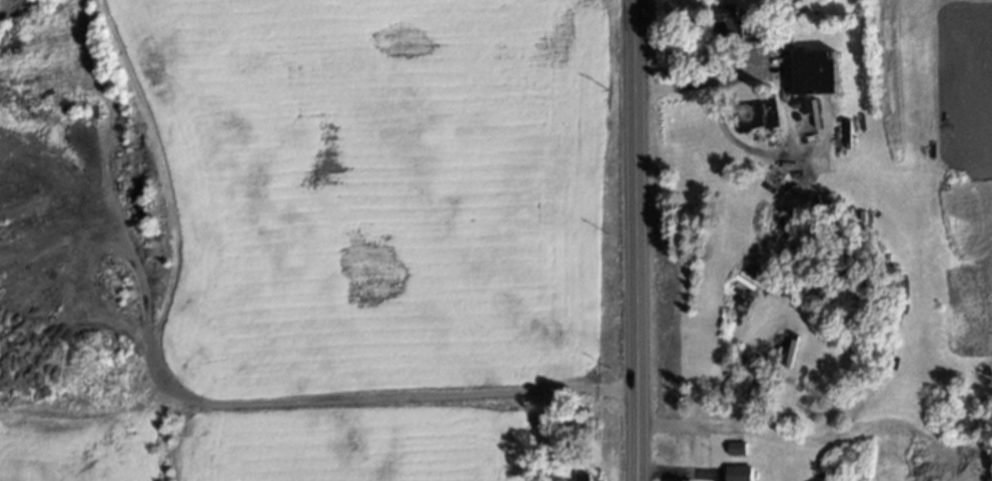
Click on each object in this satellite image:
building: (727, 20)
building: (818, 72)
road: (698, 78)
road: (628, 240)
building: (735, 448)
building: (738, 473)
building: (581, 477)

